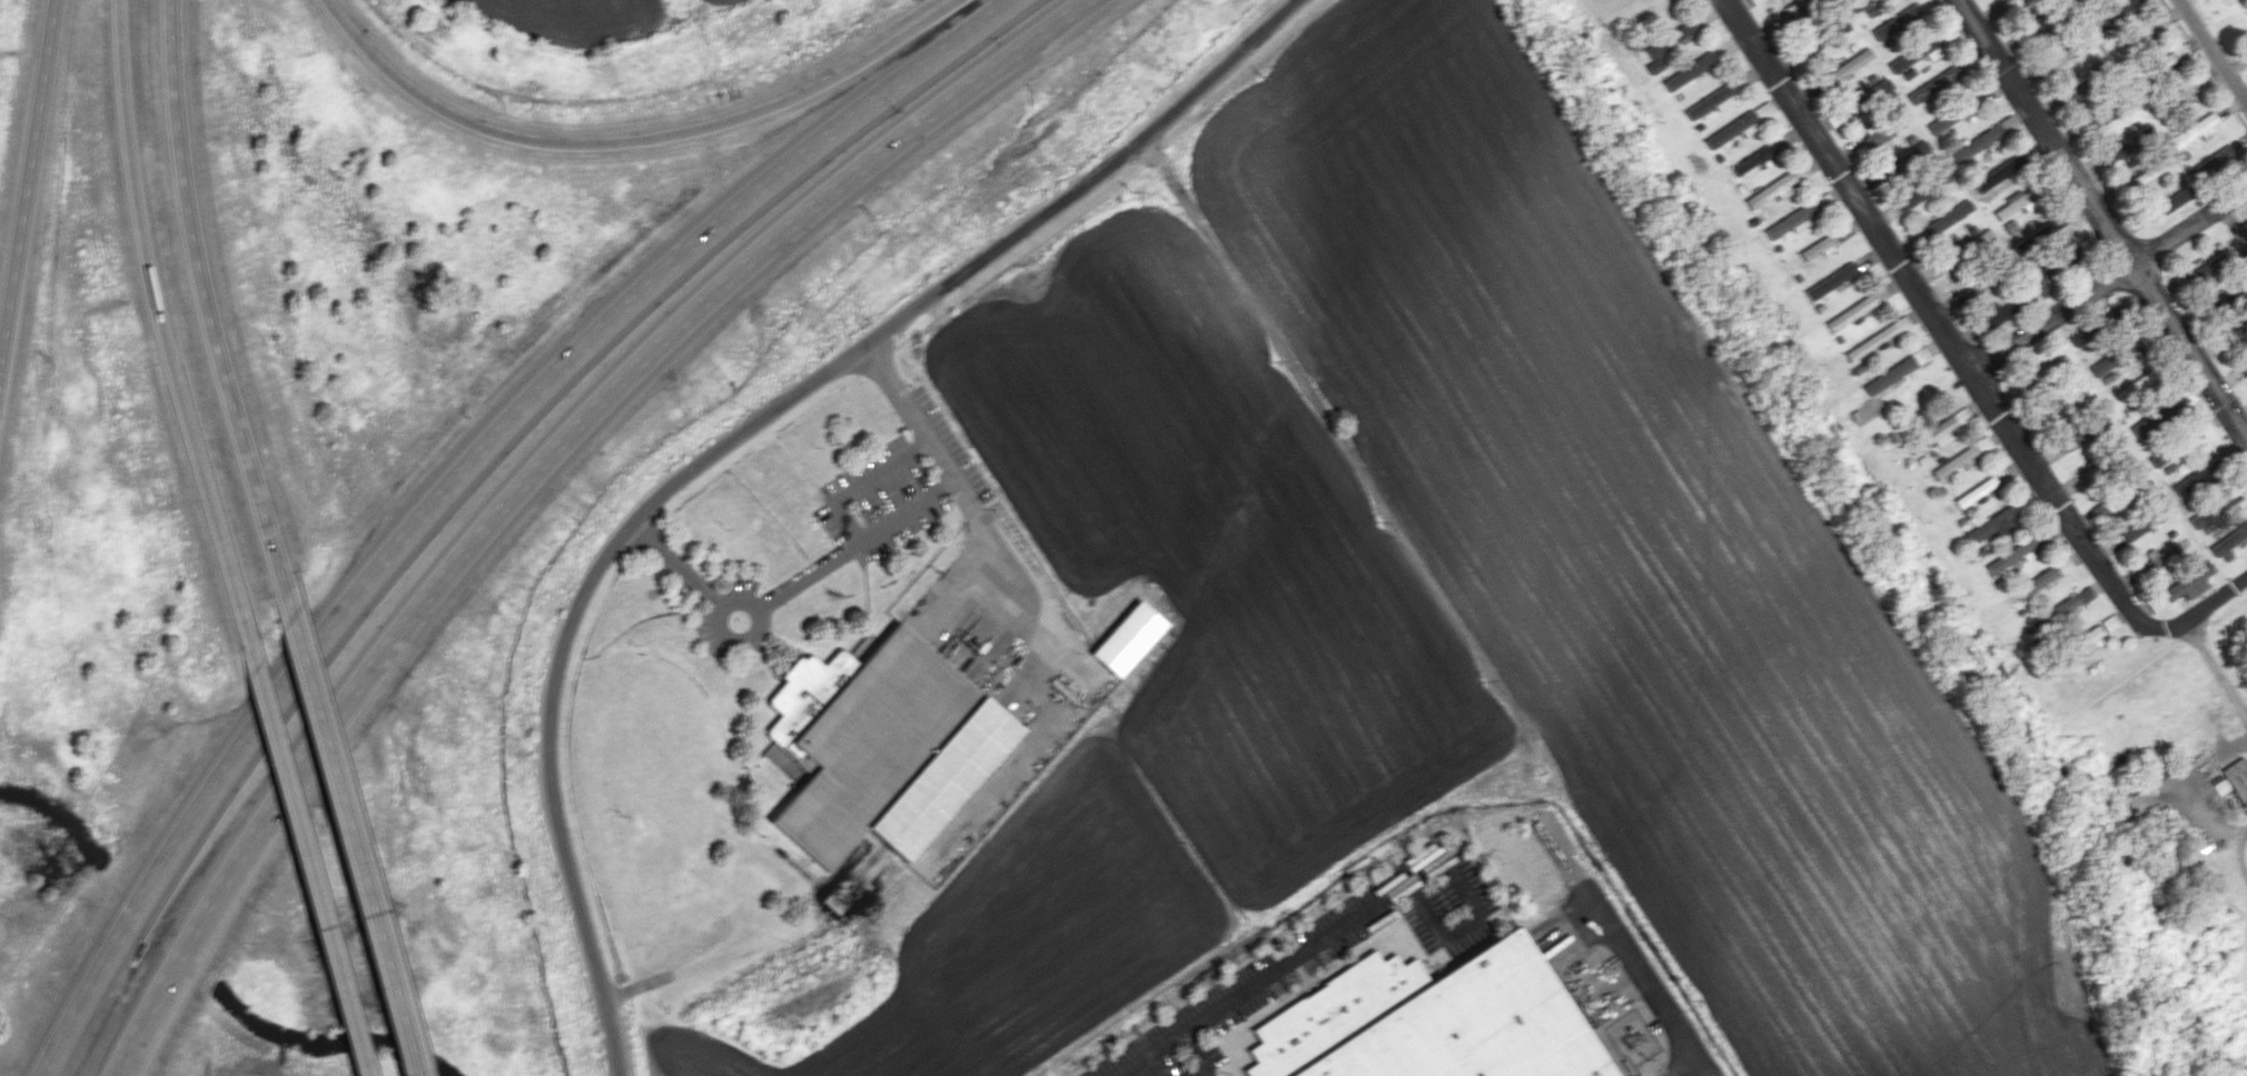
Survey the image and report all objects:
building: (1857, 3)
building: (2118, 8)
crop: (582, 18)
building: (1901, 19)
building: (1670, 37)
building: (1931, 48)
building: (2179, 51)
road: (2211, 52)
building: (1901, 61)
building: (2164, 61)
building: (1848, 66)
building: (2199, 82)
building: (1934, 83)
building: (2075, 83)
building: (1865, 97)
building: (2174, 98)
building: (1712, 100)
building: (1762, 109)
building: (1952, 114)
building: (2007, 122)
building: (1730, 129)
building: (2192, 130)
road: (639, 138)
building: (1976, 143)
building: (1916, 150)
building: (1751, 159)
building: (2214, 159)
road: (30, 189)
building: (1770, 189)
building: (1922, 189)
building: (2017, 202)
building: (2169, 202)
building: (1947, 218)
road: (2105, 218)
building: (1791, 221)
building: (2009, 226)
building: (2246, 229)
building: (1842, 231)
building: (1981, 239)
building: (1818, 246)
building: (2211, 262)
building: (1830, 280)
road: (2111, 283)
building: (2043, 288)
building: (2227, 293)
road: (202, 301)
road: (156, 303)
building: (1991, 318)
building: (1870, 341)
building: (2128, 350)
road: (1966, 360)
building: (2100, 366)
building: (2244, 367)
building: (1893, 372)
building: (2035, 379)
building: (2138, 383)
building: (2066, 399)
building: (1936, 432)
road: (732, 438)
building: (1982, 444)
building: (2181, 444)
building: (1953, 460)
road: (535, 469)
road: (454, 477)
building: (2194, 478)
building: (1974, 491)
road: (958, 494)
building: (2226, 499)
road: (904, 509)
building: (2201, 517)
building: (1992, 525)
building: (2234, 537)
building: (2161, 554)
road: (803, 576)
building: (2042, 578)
building: (2189, 584)
building: (2067, 605)
building: (1127, 638)
building: (2083, 639)
road: (2216, 666)
building: (888, 753)
building: (2237, 779)
road: (348, 835)
road: (294, 839)
road: (2243, 858)
road: (1643, 968)
road: (1265, 977)
building: (1431, 1020)
road: (138, 1048)
road: (1195, 1055)

